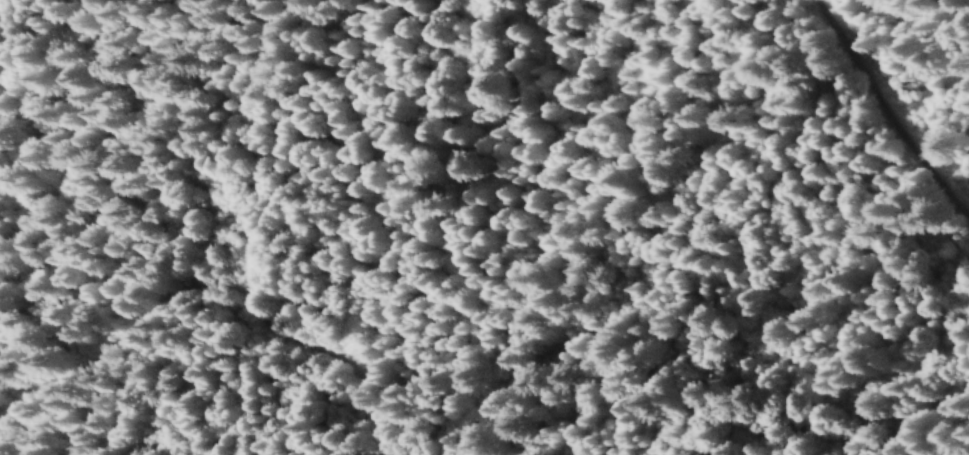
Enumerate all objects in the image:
road: (881, 103)

